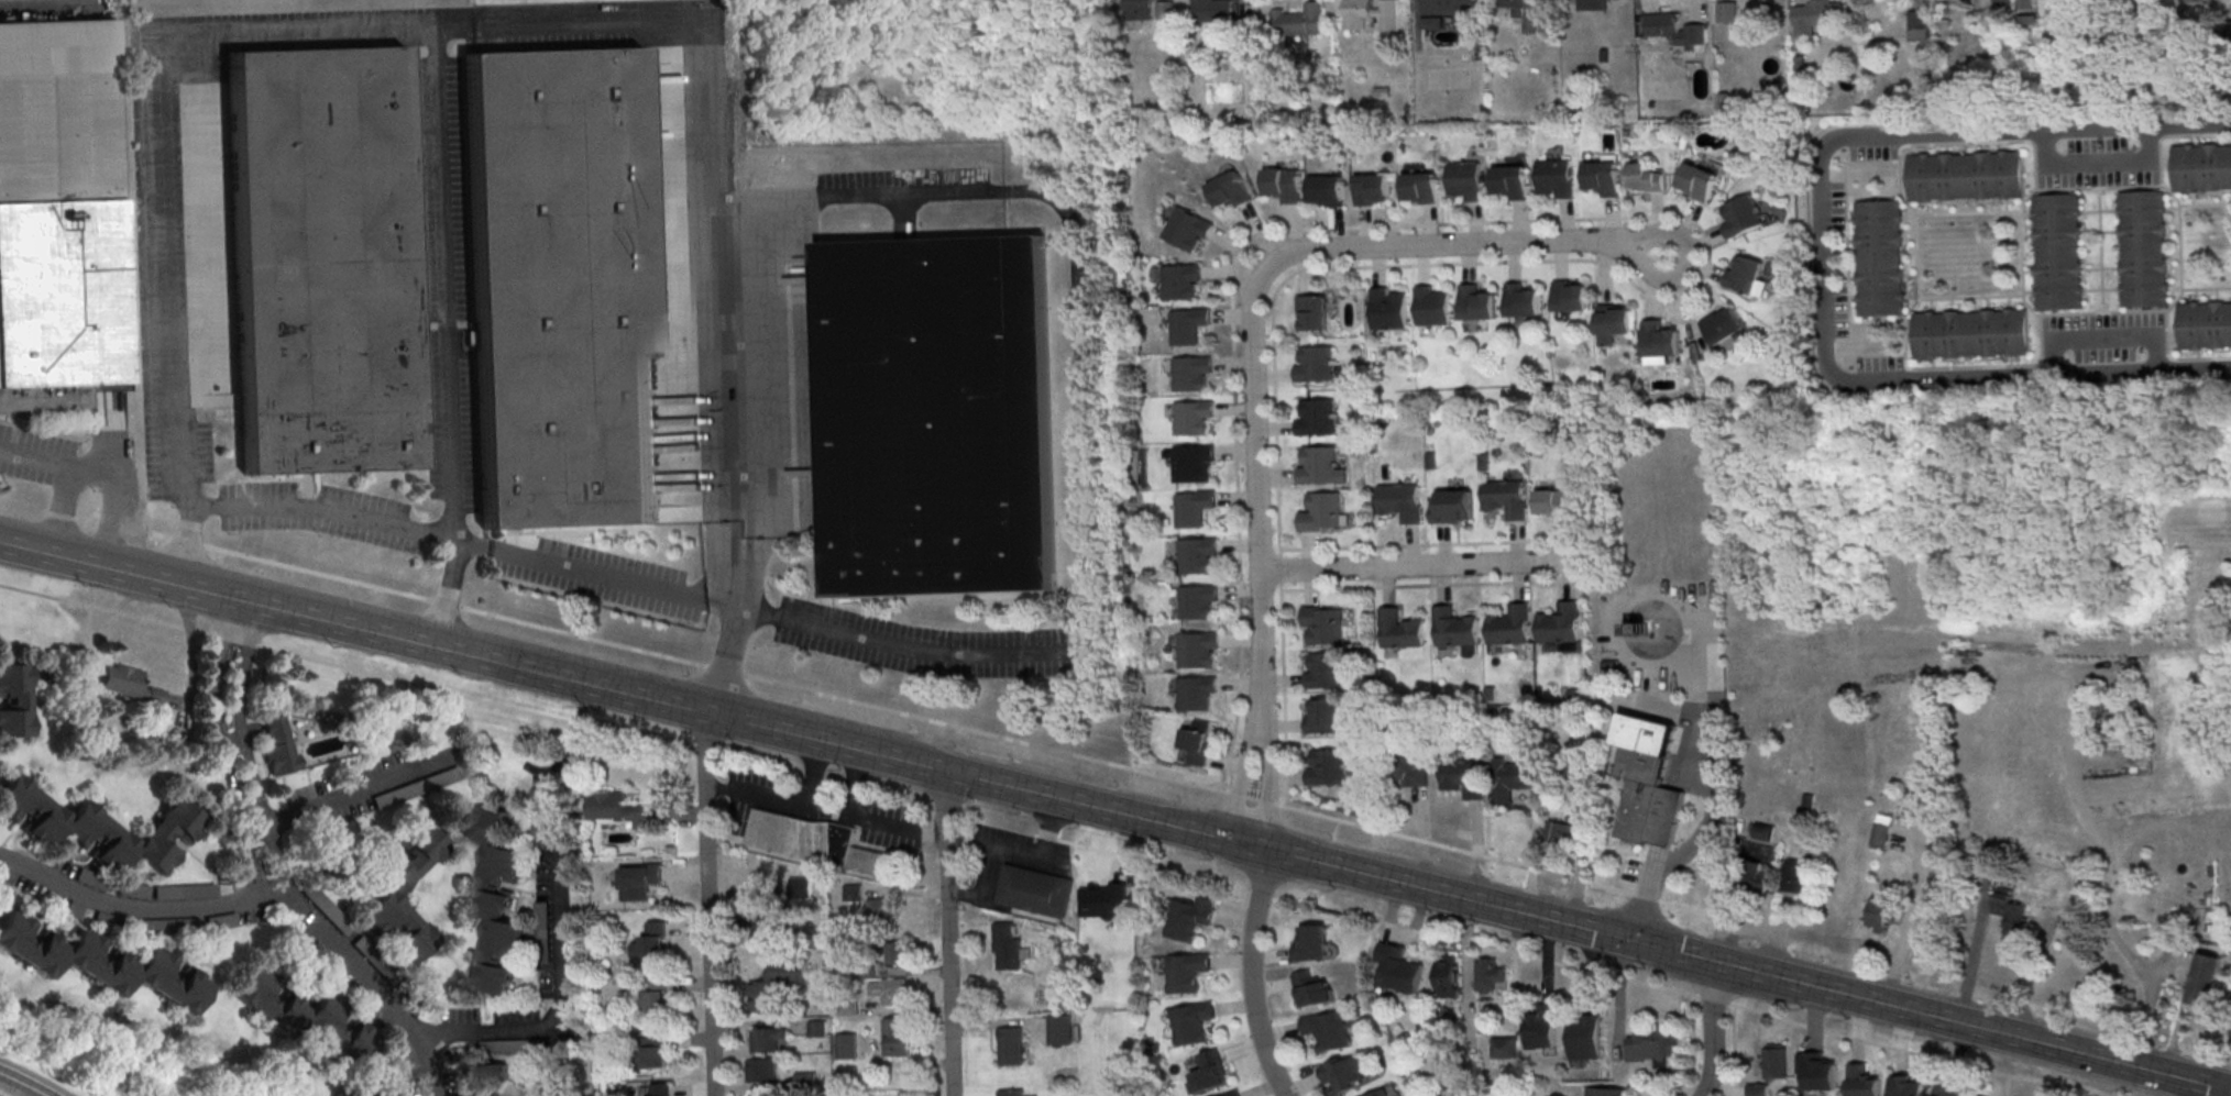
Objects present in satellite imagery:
road: (1165, 1)
road: (1315, 1)
building: (1512, 3)
building: (2027, 3)
building: (1592, 4)
building: (1447, 7)
building: (1138, 11)
building: (1165, 12)
building: (1211, 12)
building: (1727, 13)
building: (1370, 15)
building: (1817, 19)
building: (1298, 23)
building: (1534, 24)
road: (609, 25)
building: (1919, 25)
building: (1674, 27)
building: (57, 111)
road: (1851, 136)
parking lot: (1870, 151)
road: (2093, 164)
parking lot: (2097, 165)
building: (2201, 166)
building: (1646, 175)
building: (1965, 175)
building: (1557, 176)
building: (1603, 176)
road: (162, 177)
building: (1699, 178)
building: (1465, 179)
building: (1510, 180)
building: (1283, 182)
building: (1420, 186)
building: (1372, 188)
building: (1327, 189)
building: (1229, 190)
building: (1741, 215)
building: (1187, 228)
road: (2178, 245)
building: (2142, 247)
road: (1309, 250)
building: (2056, 251)
building: (1879, 257)
building: (325, 261)
road: (1296, 270)
building: (1745, 274)
building: (1180, 283)
building: (561, 288)
building: (61, 294)
building: (1570, 294)
road: (2021, 295)
building: (1523, 299)
building: (1476, 302)
building: (1432, 306)
building: (1388, 308)
building: (1314, 311)
building: (1614, 321)
building: (2203, 323)
building: (1187, 324)
building: (1728, 324)
building: (1970, 332)
parking lot: (2101, 334)
road: (2100, 335)
building: (1661, 339)
parking lot: (1877, 363)
building: (1315, 364)
building: (1190, 373)
road: (2086, 374)
building: (937, 416)
building: (1191, 417)
building: (1317, 417)
building: (1430, 460)
building: (1483, 460)
building: (1193, 463)
road: (1237, 465)
building: (1320, 465)
road: (105, 470)
building: (1505, 497)
building: (1400, 500)
building: (1556, 500)
building: (1453, 506)
building: (1194, 507)
road: (61, 510)
building: (1321, 511)
road: (1429, 544)
building: (1197, 554)
road: (1419, 564)
road: (158, 583)
road: (1430, 584)
building: (1199, 601)
building: (1559, 622)
building: (1510, 623)
building: (1323, 624)
building: (1454, 626)
building: (1400, 628)
road: (1263, 645)
building: (1198, 649)
road: (1027, 653)
road: (685, 661)
building: (1323, 669)
road: (241, 679)
road: (215, 682)
building: (127, 683)
building: (1196, 691)
building: (14, 700)
building: (1323, 716)
building: (1196, 742)
building: (278, 744)
building: (1406, 764)
building: (1328, 766)
building: (1463, 777)
road: (1243, 778)
building: (1510, 778)
building: (1647, 778)
road: (1263, 782)
road: (356, 791)
road: (735, 793)
road: (811, 794)
building: (620, 808)
building: (539, 818)
road: (869, 818)
building: (99, 826)
road: (1710, 827)
building: (1560, 831)
building: (1763, 832)
building: (1879, 834)
building: (813, 840)
road: (1275, 849)
road: (1027, 861)
building: (1754, 876)
building: (1798, 876)
building: (640, 881)
building: (803, 886)
building: (1035, 890)
building: (389, 892)
road: (969, 894)
road: (1649, 894)
building: (1106, 895)
building: (494, 898)
road: (1653, 899)
road: (708, 903)
building: (879, 907)
building: (2009, 908)
road: (139, 909)
building: (327, 909)
building: (1878, 911)
road: (1912, 911)
building: (763, 917)
building: (1190, 919)
building: (543, 923)
road: (322, 932)
road: (948, 932)
building: (651, 941)
traffic signals: (1638, 941)
building: (1312, 943)
building: (1007, 945)
building: (897, 952)
building: (374, 959)
building: (97, 961)
road: (1970, 966)
building: (1397, 967)
building: (1188, 972)
building: (1490, 973)
road: (559, 974)
road: (1253, 974)
building: (1447, 975)
building: (2205, 977)
building: (774, 984)
building: (1314, 988)
building: (890, 992)
building: (656, 993)
road: (1673, 993)
building: (848, 1007)
building: (304, 1016)
building: (382, 1016)
building: (1194, 1022)
building: (1541, 1025)
building: (1060, 1029)
road: (1713, 1029)
building: (817, 1030)
building: (1329, 1030)
building: (898, 1036)
building: (1584, 1036)
building: (767, 1039)
building: (1653, 1043)
road: (1869, 1043)
building: (846, 1047)
building: (1011, 1047)
building: (1504, 1047)
road: (1693, 1047)
building: (658, 1050)
building: (406, 1054)
building: (1776, 1062)
park: (100, 1063)
building: (761, 1070)
building: (1817, 1070)
building: (1211, 1071)
building: (1347, 1073)
building: (490, 1080)
building: (1861, 1081)
building: (805, 1083)
road: (21, 1084)
building: (1908, 1085)
park: (251, 1087)
building: (659, 1089)
building: (1758, 1089)
building: (1606, 1092)
building: (1949, 1092)
building: (356, 1093)
building: (1011, 1093)
building: (1233, 1093)
building: (1380, 1093)

